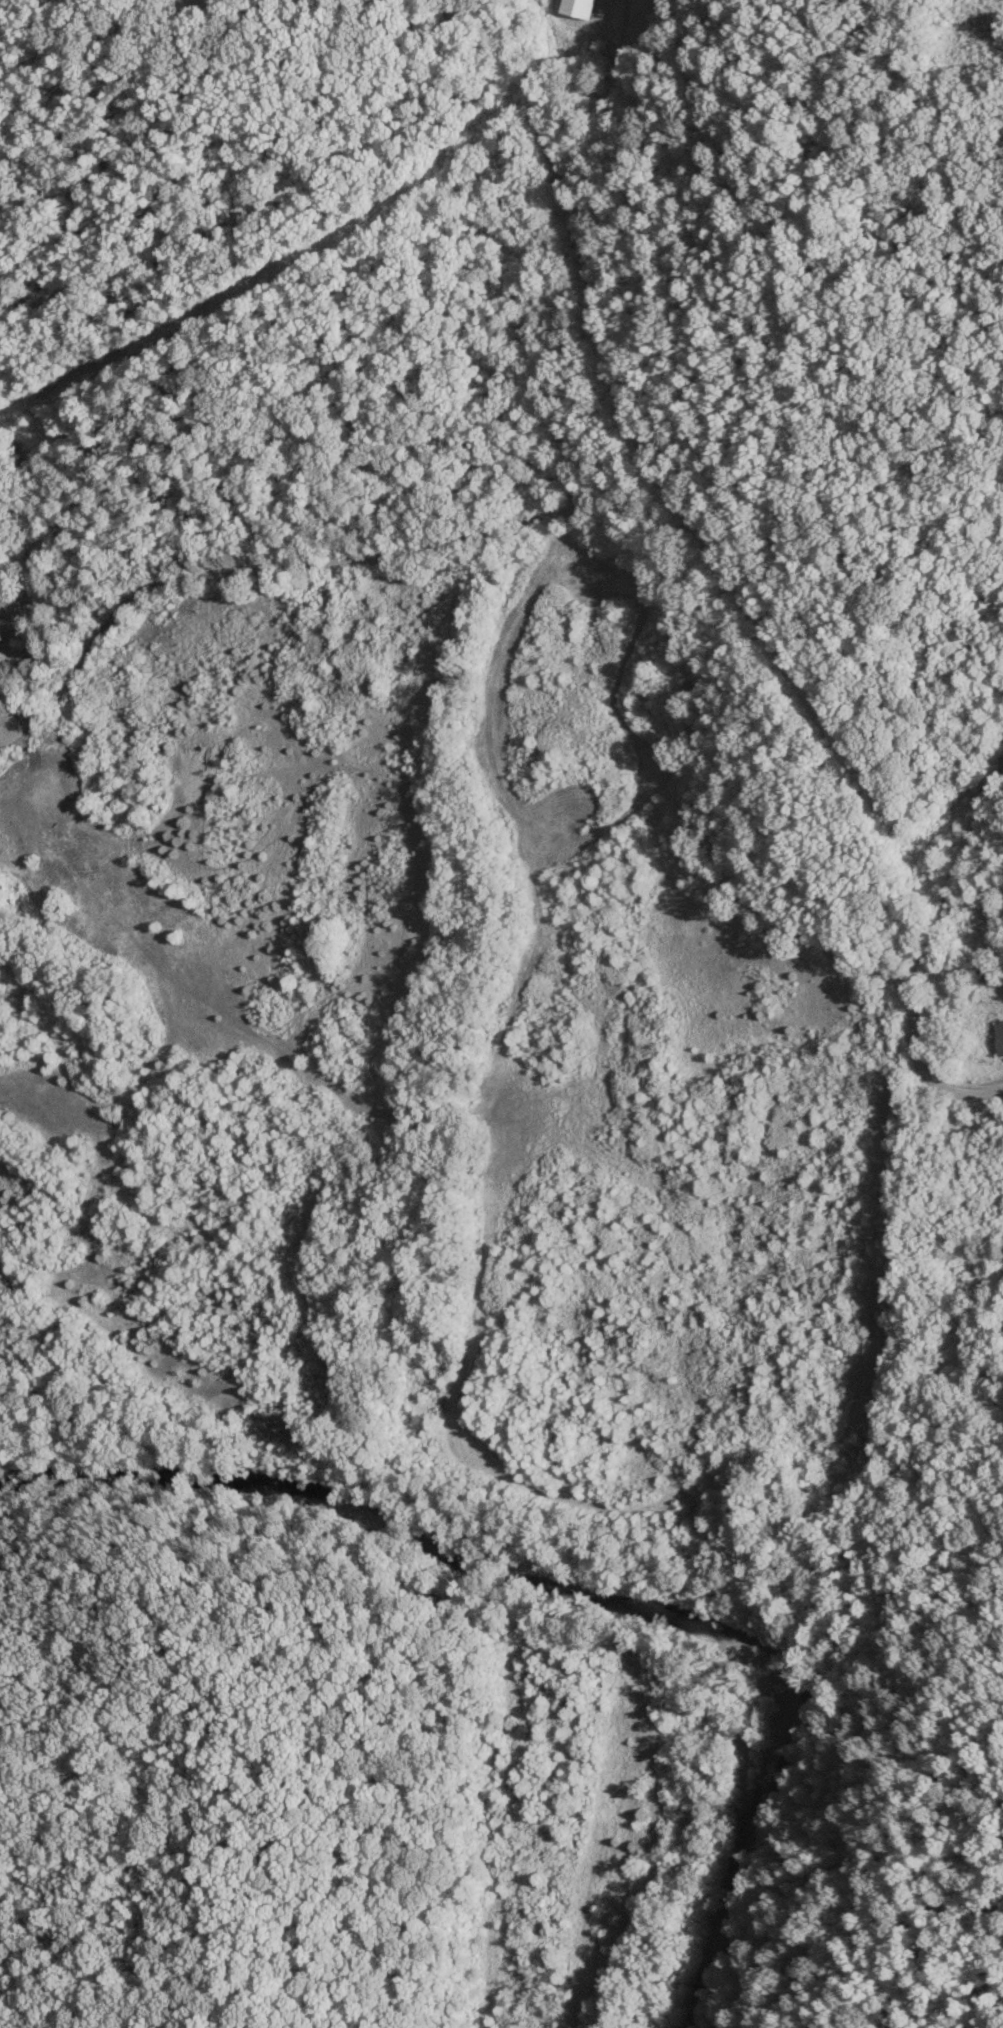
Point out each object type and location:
building: (580, 8)
road: (525, 236)
road: (635, 552)
building: (999, 1038)

